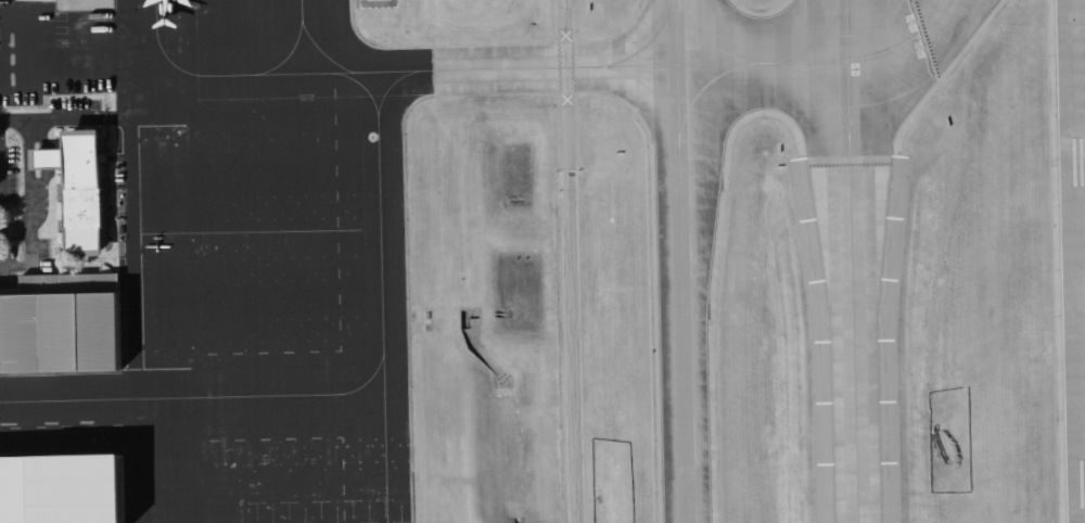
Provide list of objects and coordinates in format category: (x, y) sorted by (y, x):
airport taxiway: (646, 43)
airport taxiway: (712, 43)
airport taxiway: (676, 64)
airport taxiway: (782, 65)
airport taxiway: (700, 90)
airport taxiway: (651, 92)
road: (67, 122)
road: (39, 142)
road: (47, 160)
road: (31, 175)
road: (39, 182)
building: (80, 194)
parking lot: (9, 215)
airport taxiway: (852, 260)
airport: (542, 261)
road: (562, 261)
airport taxiway: (679, 261)
road: (25, 263)
airport apron: (258, 266)
building: (58, 335)
airport hangar: (61, 488)
building: (61, 488)

